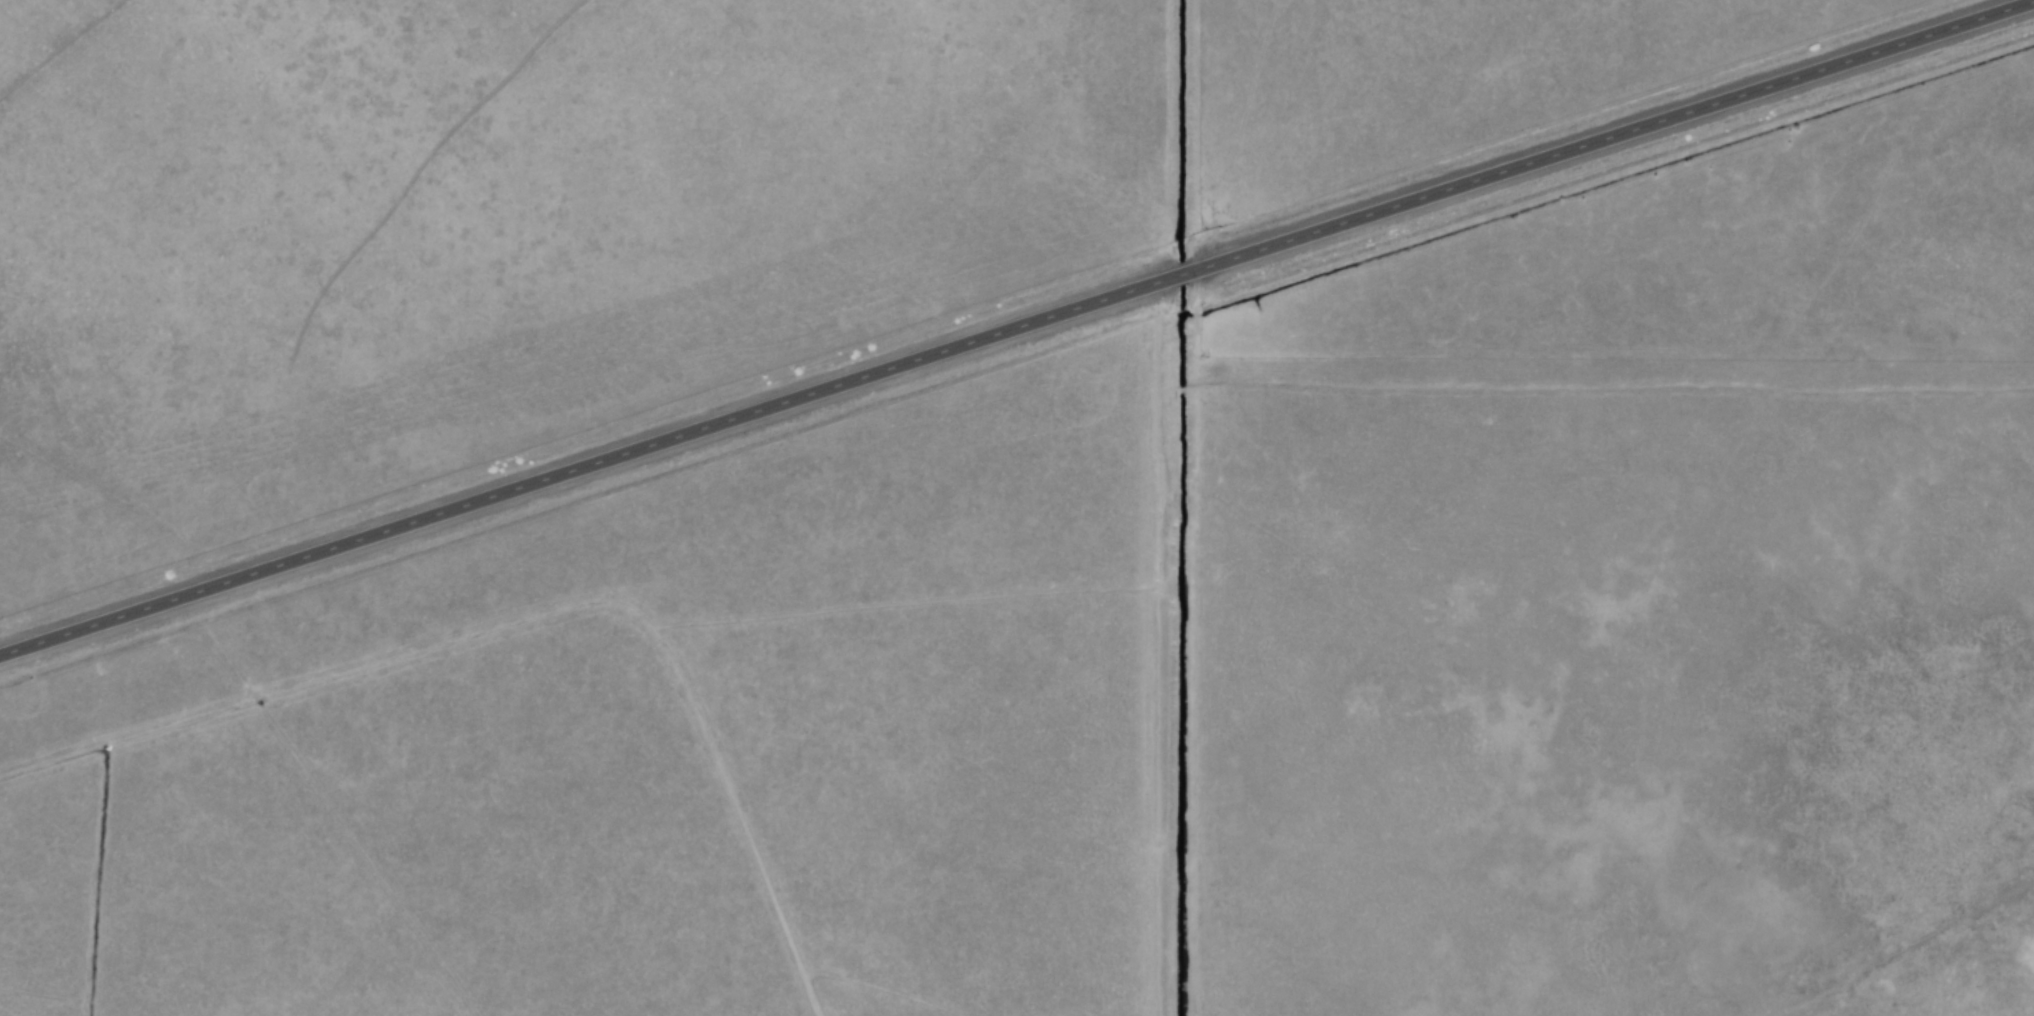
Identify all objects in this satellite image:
road: (1014, 326)

